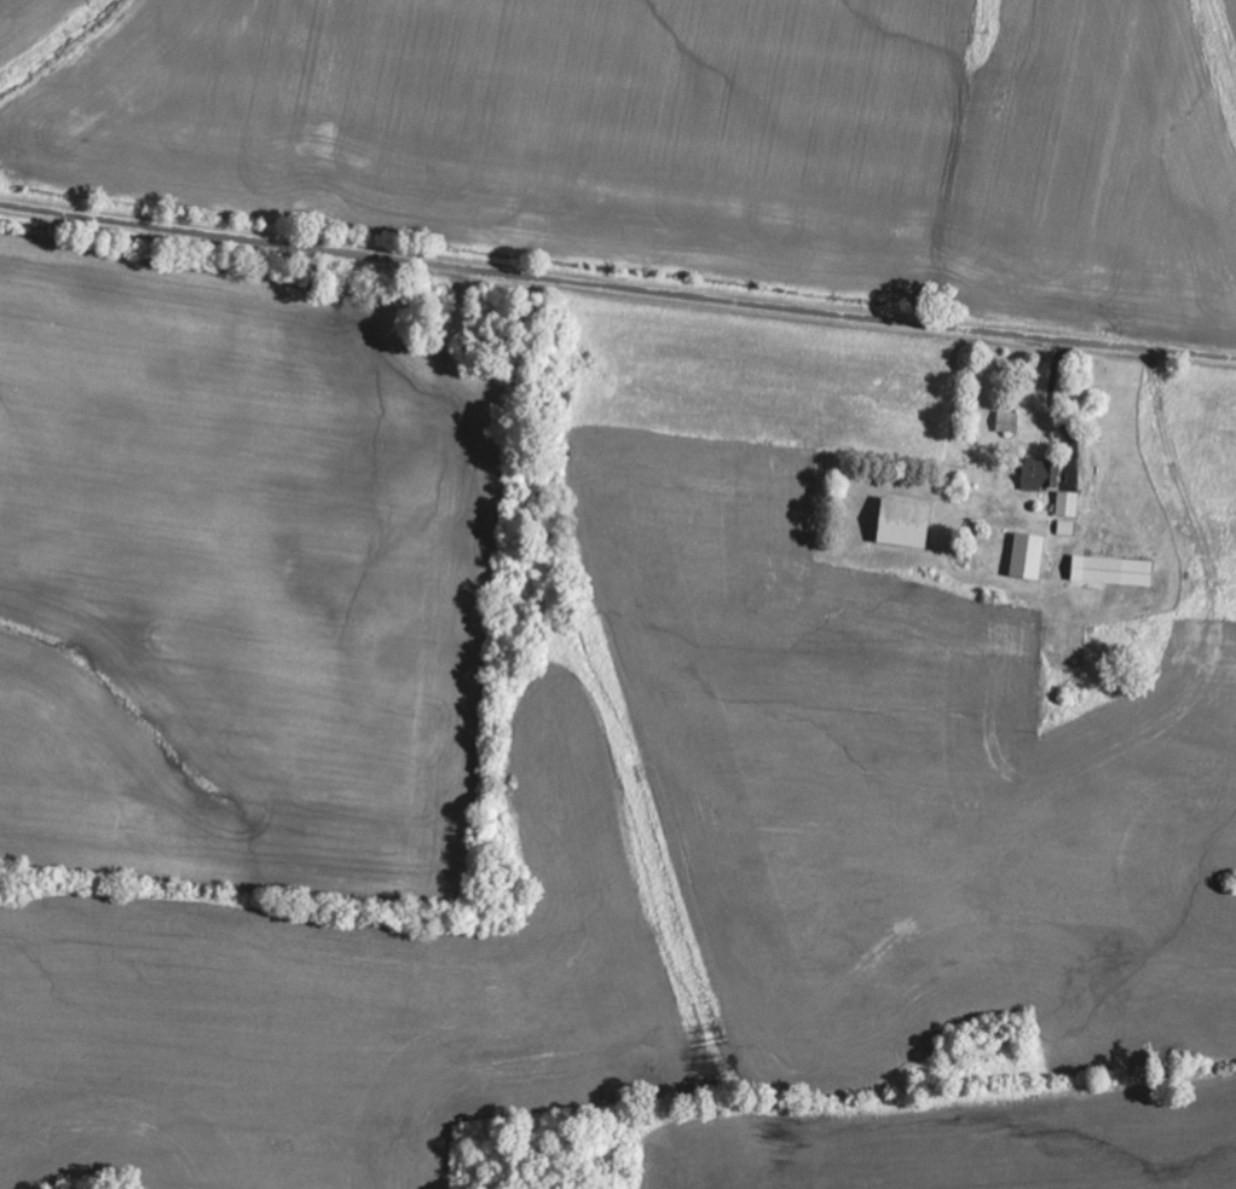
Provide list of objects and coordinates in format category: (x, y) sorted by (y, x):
road: (617, 284)
building: (1010, 423)
building: (1039, 475)
building: (1070, 506)
building: (909, 525)
building: (1069, 530)
building: (1030, 558)
building: (1116, 572)

